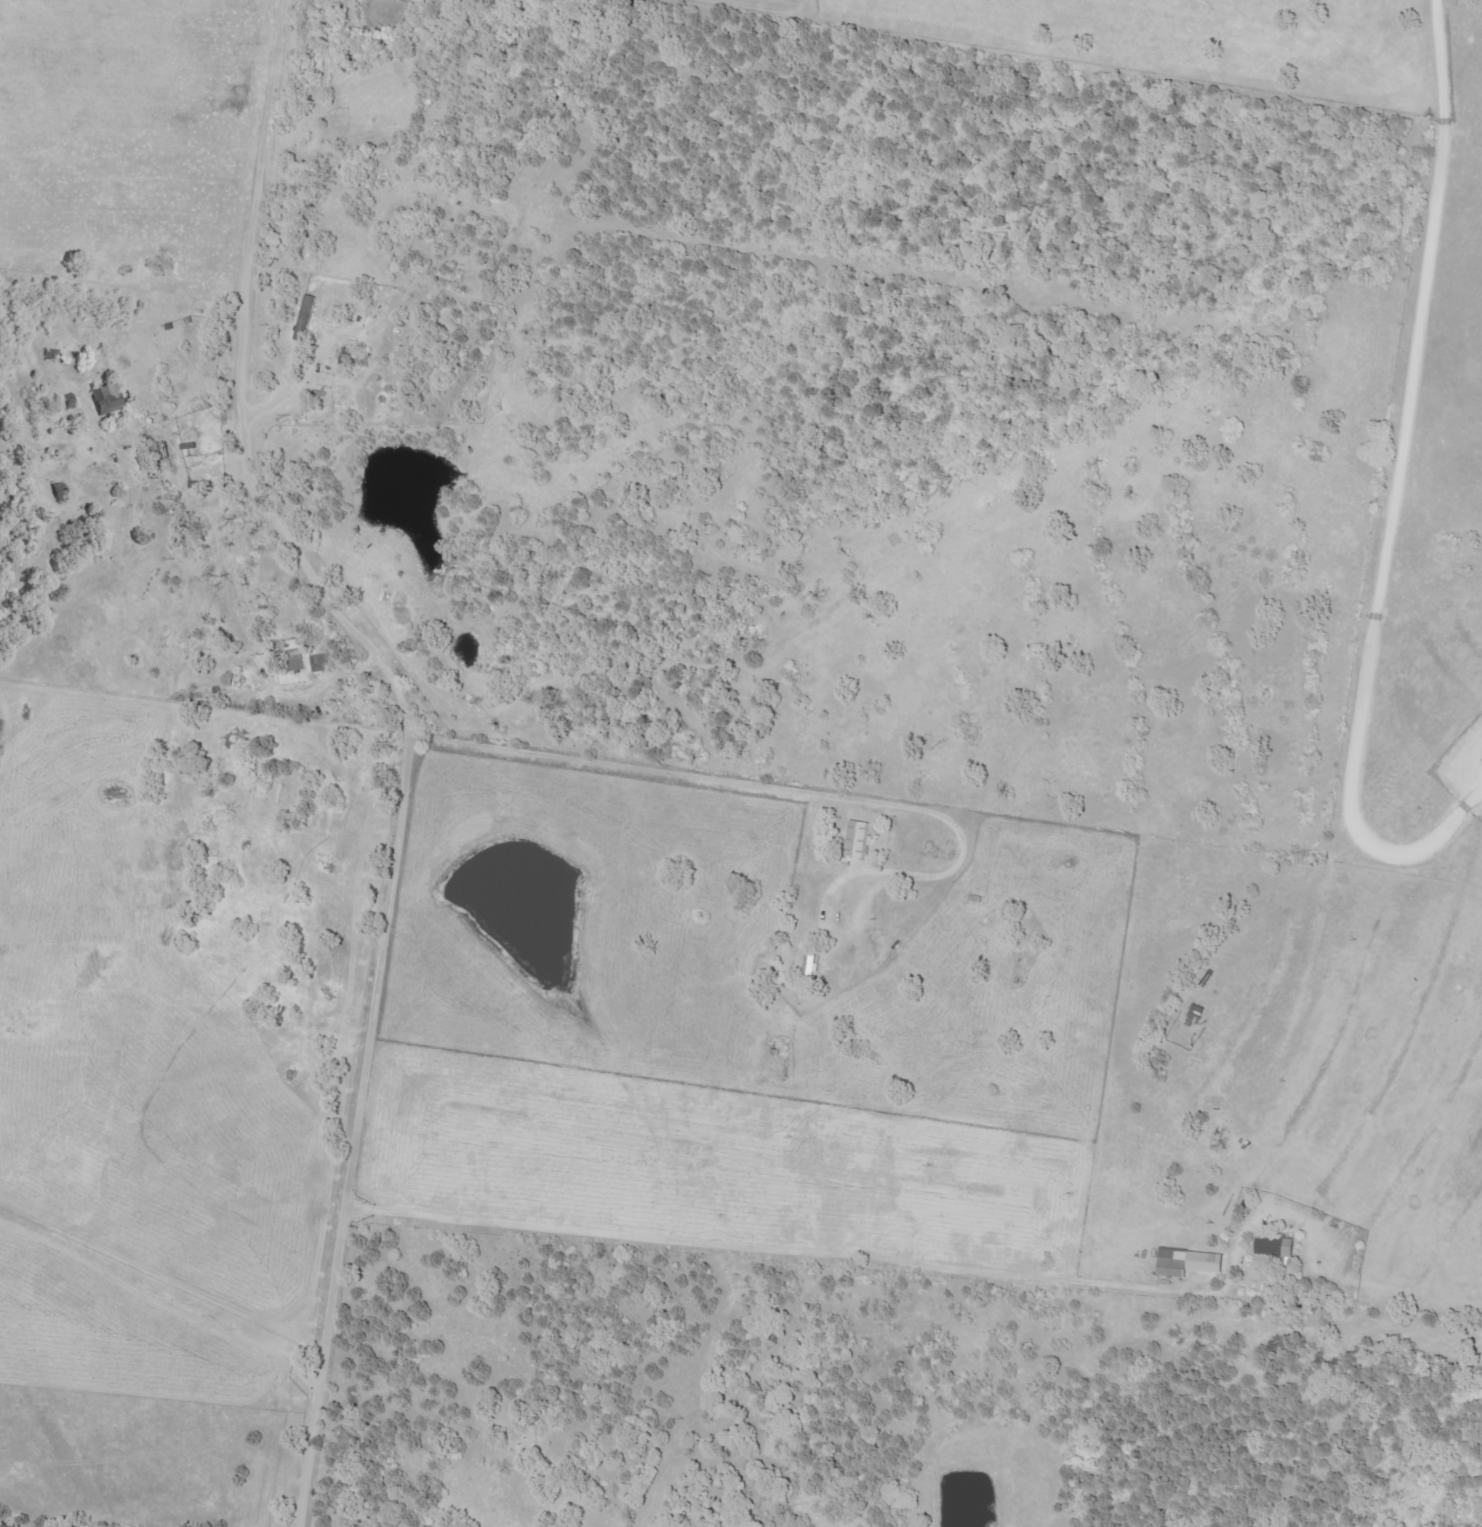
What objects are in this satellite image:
building: (109, 400)
road: (1390, 479)
building: (323, 664)
road: (408, 735)
road: (242, 740)
building: (856, 839)
building: (808, 967)
building: (1193, 1015)
building: (1272, 1245)
building: (1170, 1262)
road: (153, 1293)

